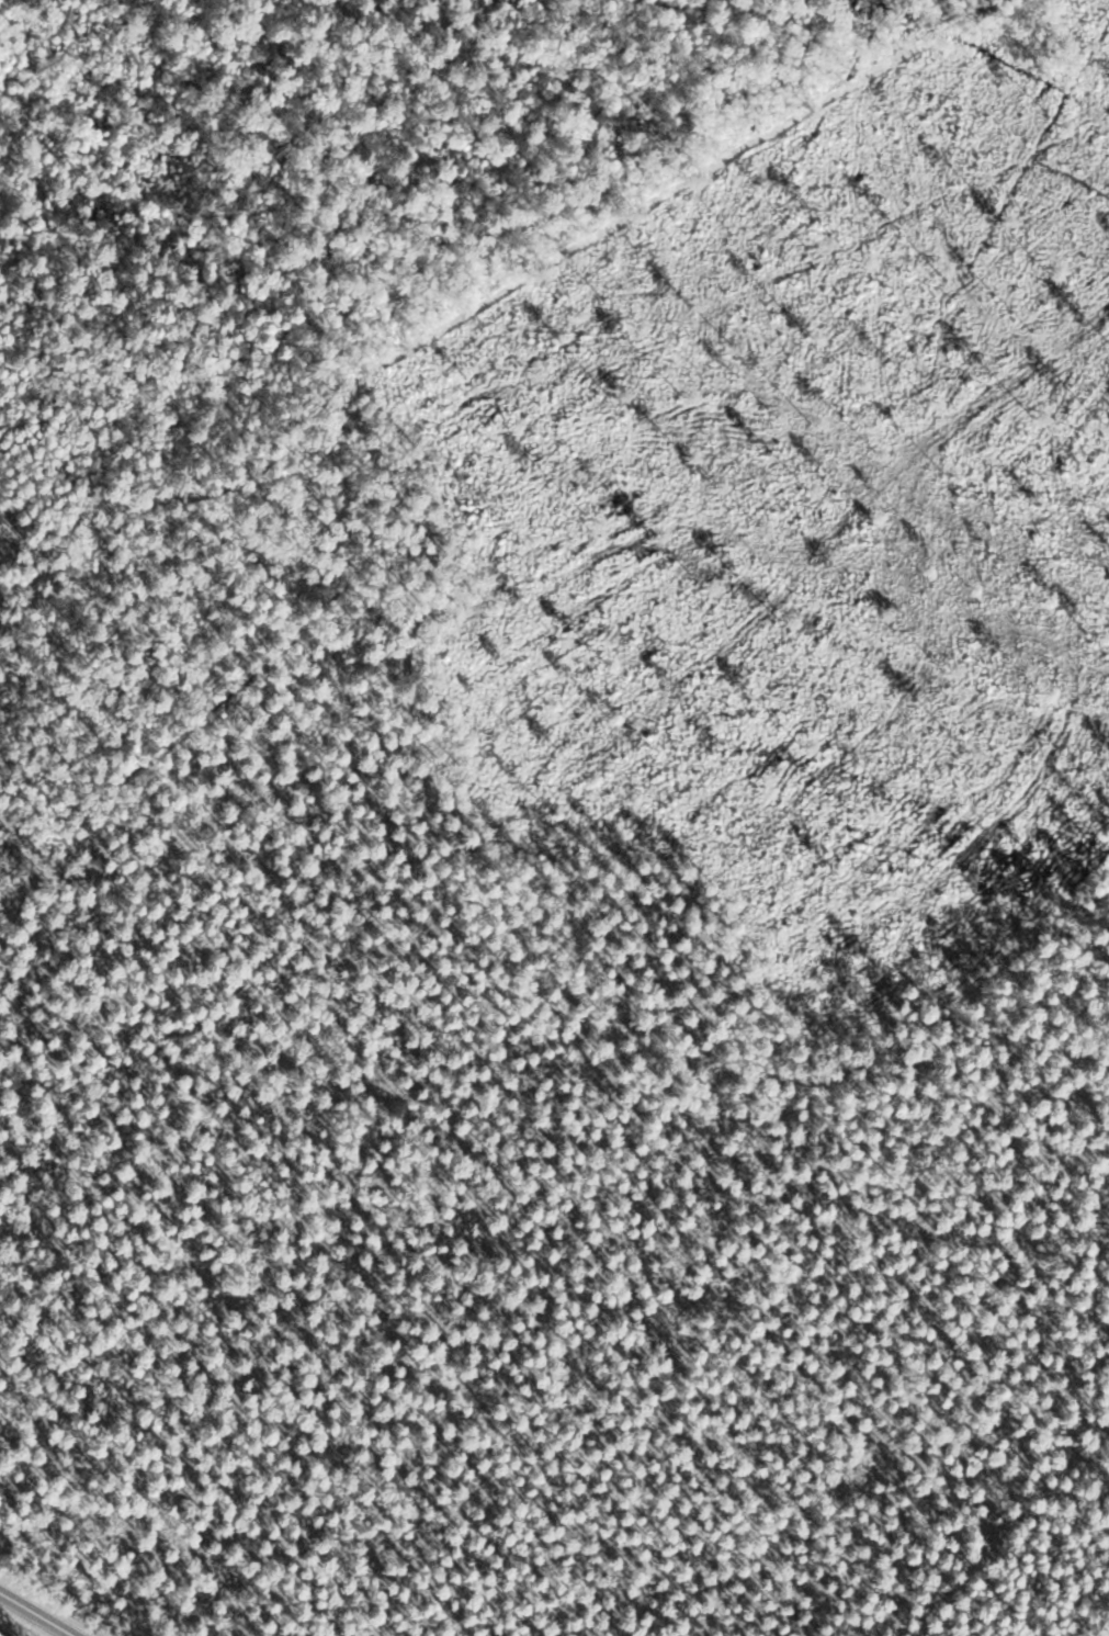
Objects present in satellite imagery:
road: (37, 1613)

